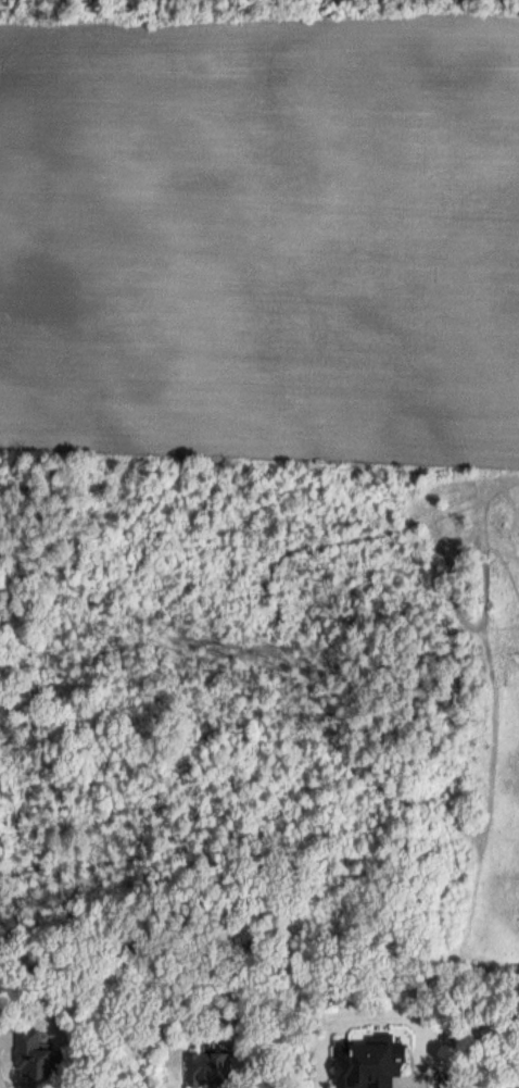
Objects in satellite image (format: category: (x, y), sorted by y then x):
building: (36, 1058)
building: (205, 1071)

